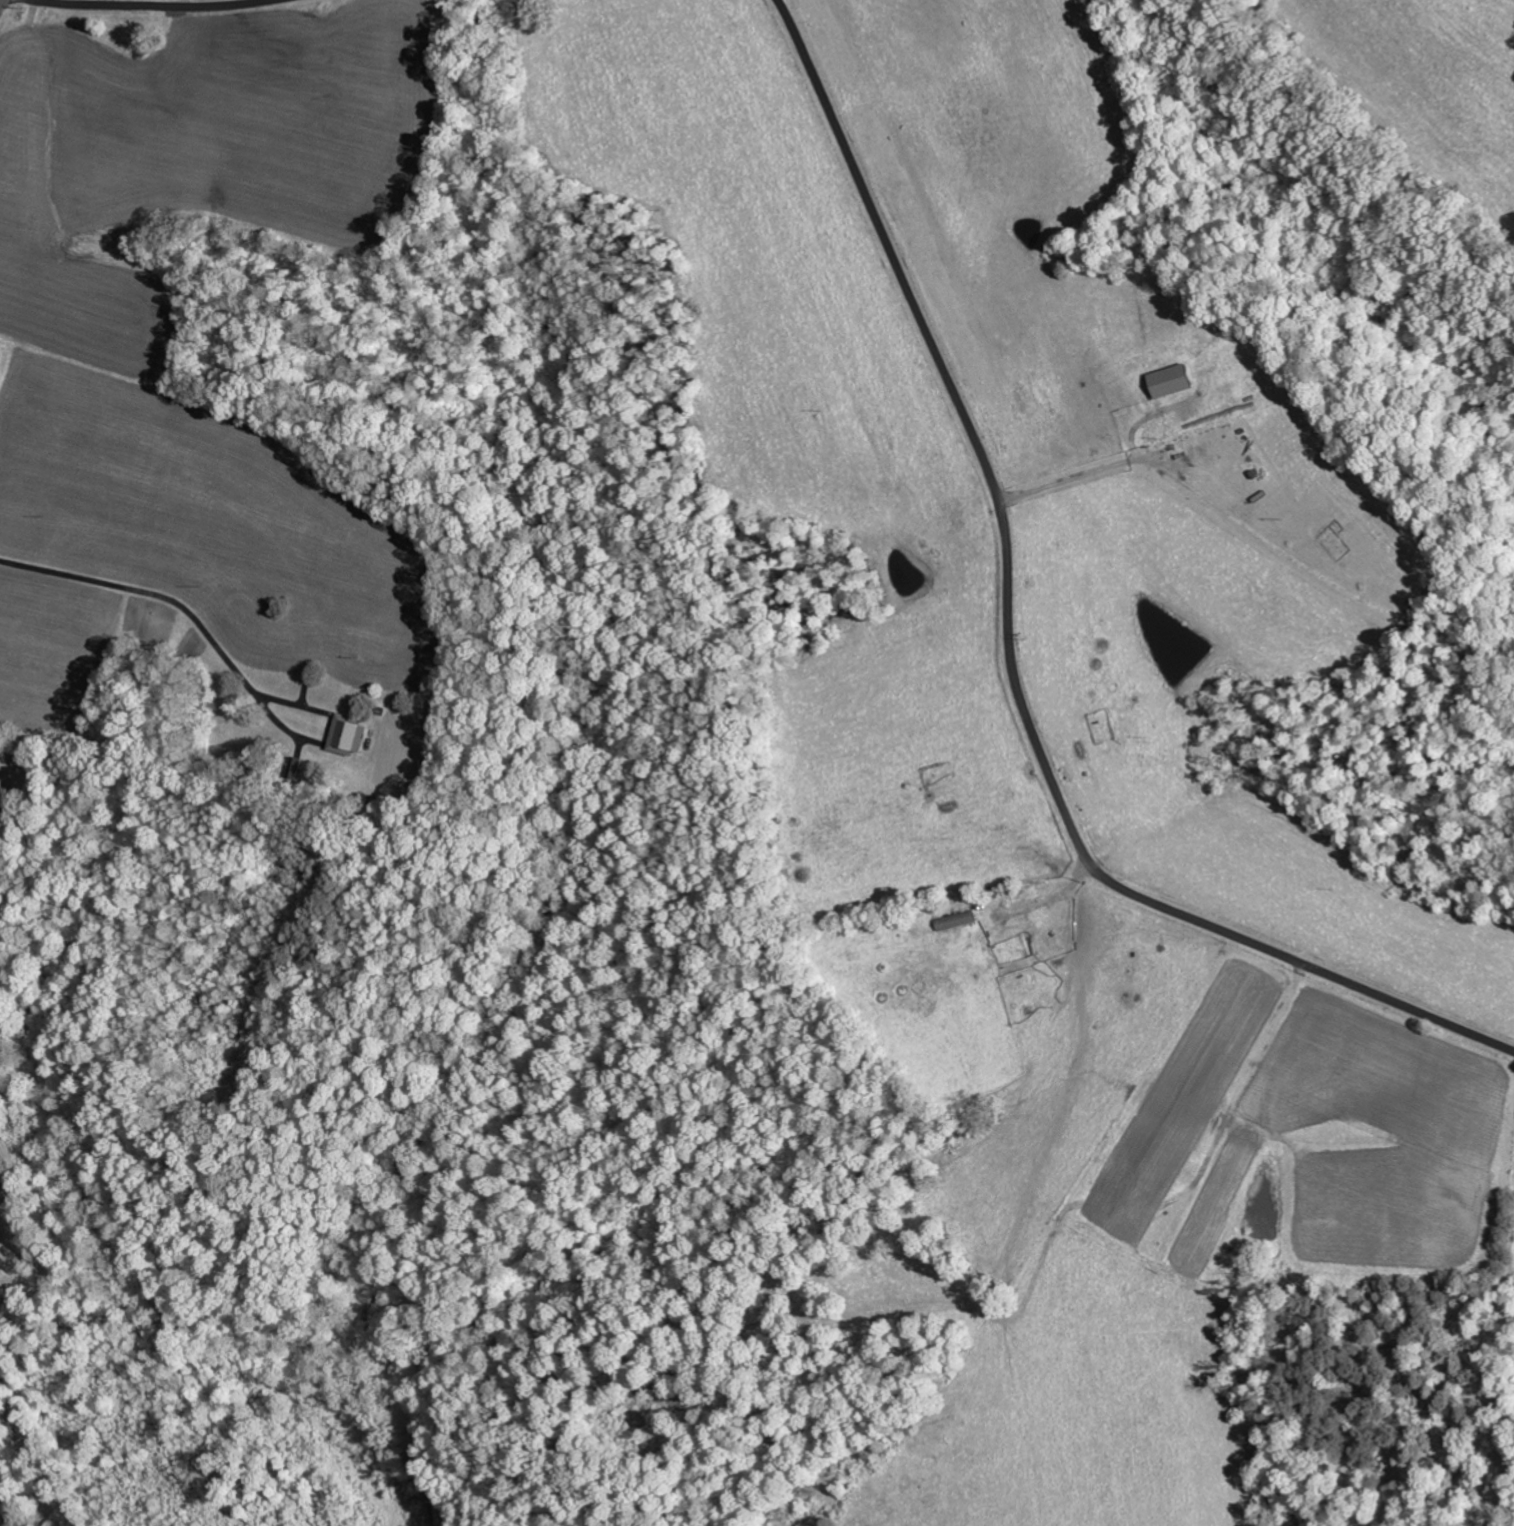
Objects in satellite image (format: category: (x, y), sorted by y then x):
road: (0, 1)
road: (138, 8)
building: (0, 352)
building: (1172, 380)
road: (1011, 648)
road: (97, 715)
building: (347, 734)
building: (955, 920)

